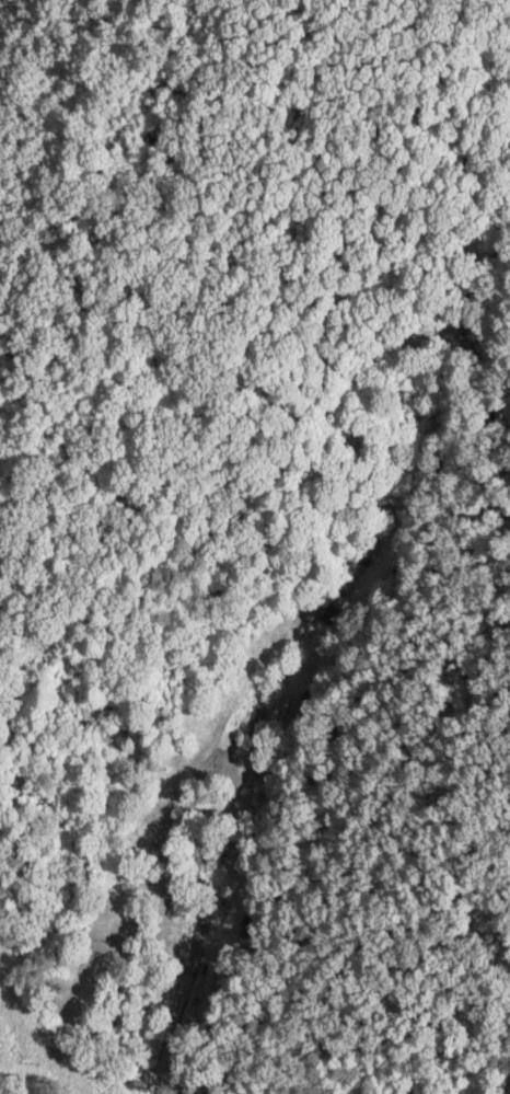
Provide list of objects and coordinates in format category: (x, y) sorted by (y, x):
building: (329, 613)
building: (212, 979)

